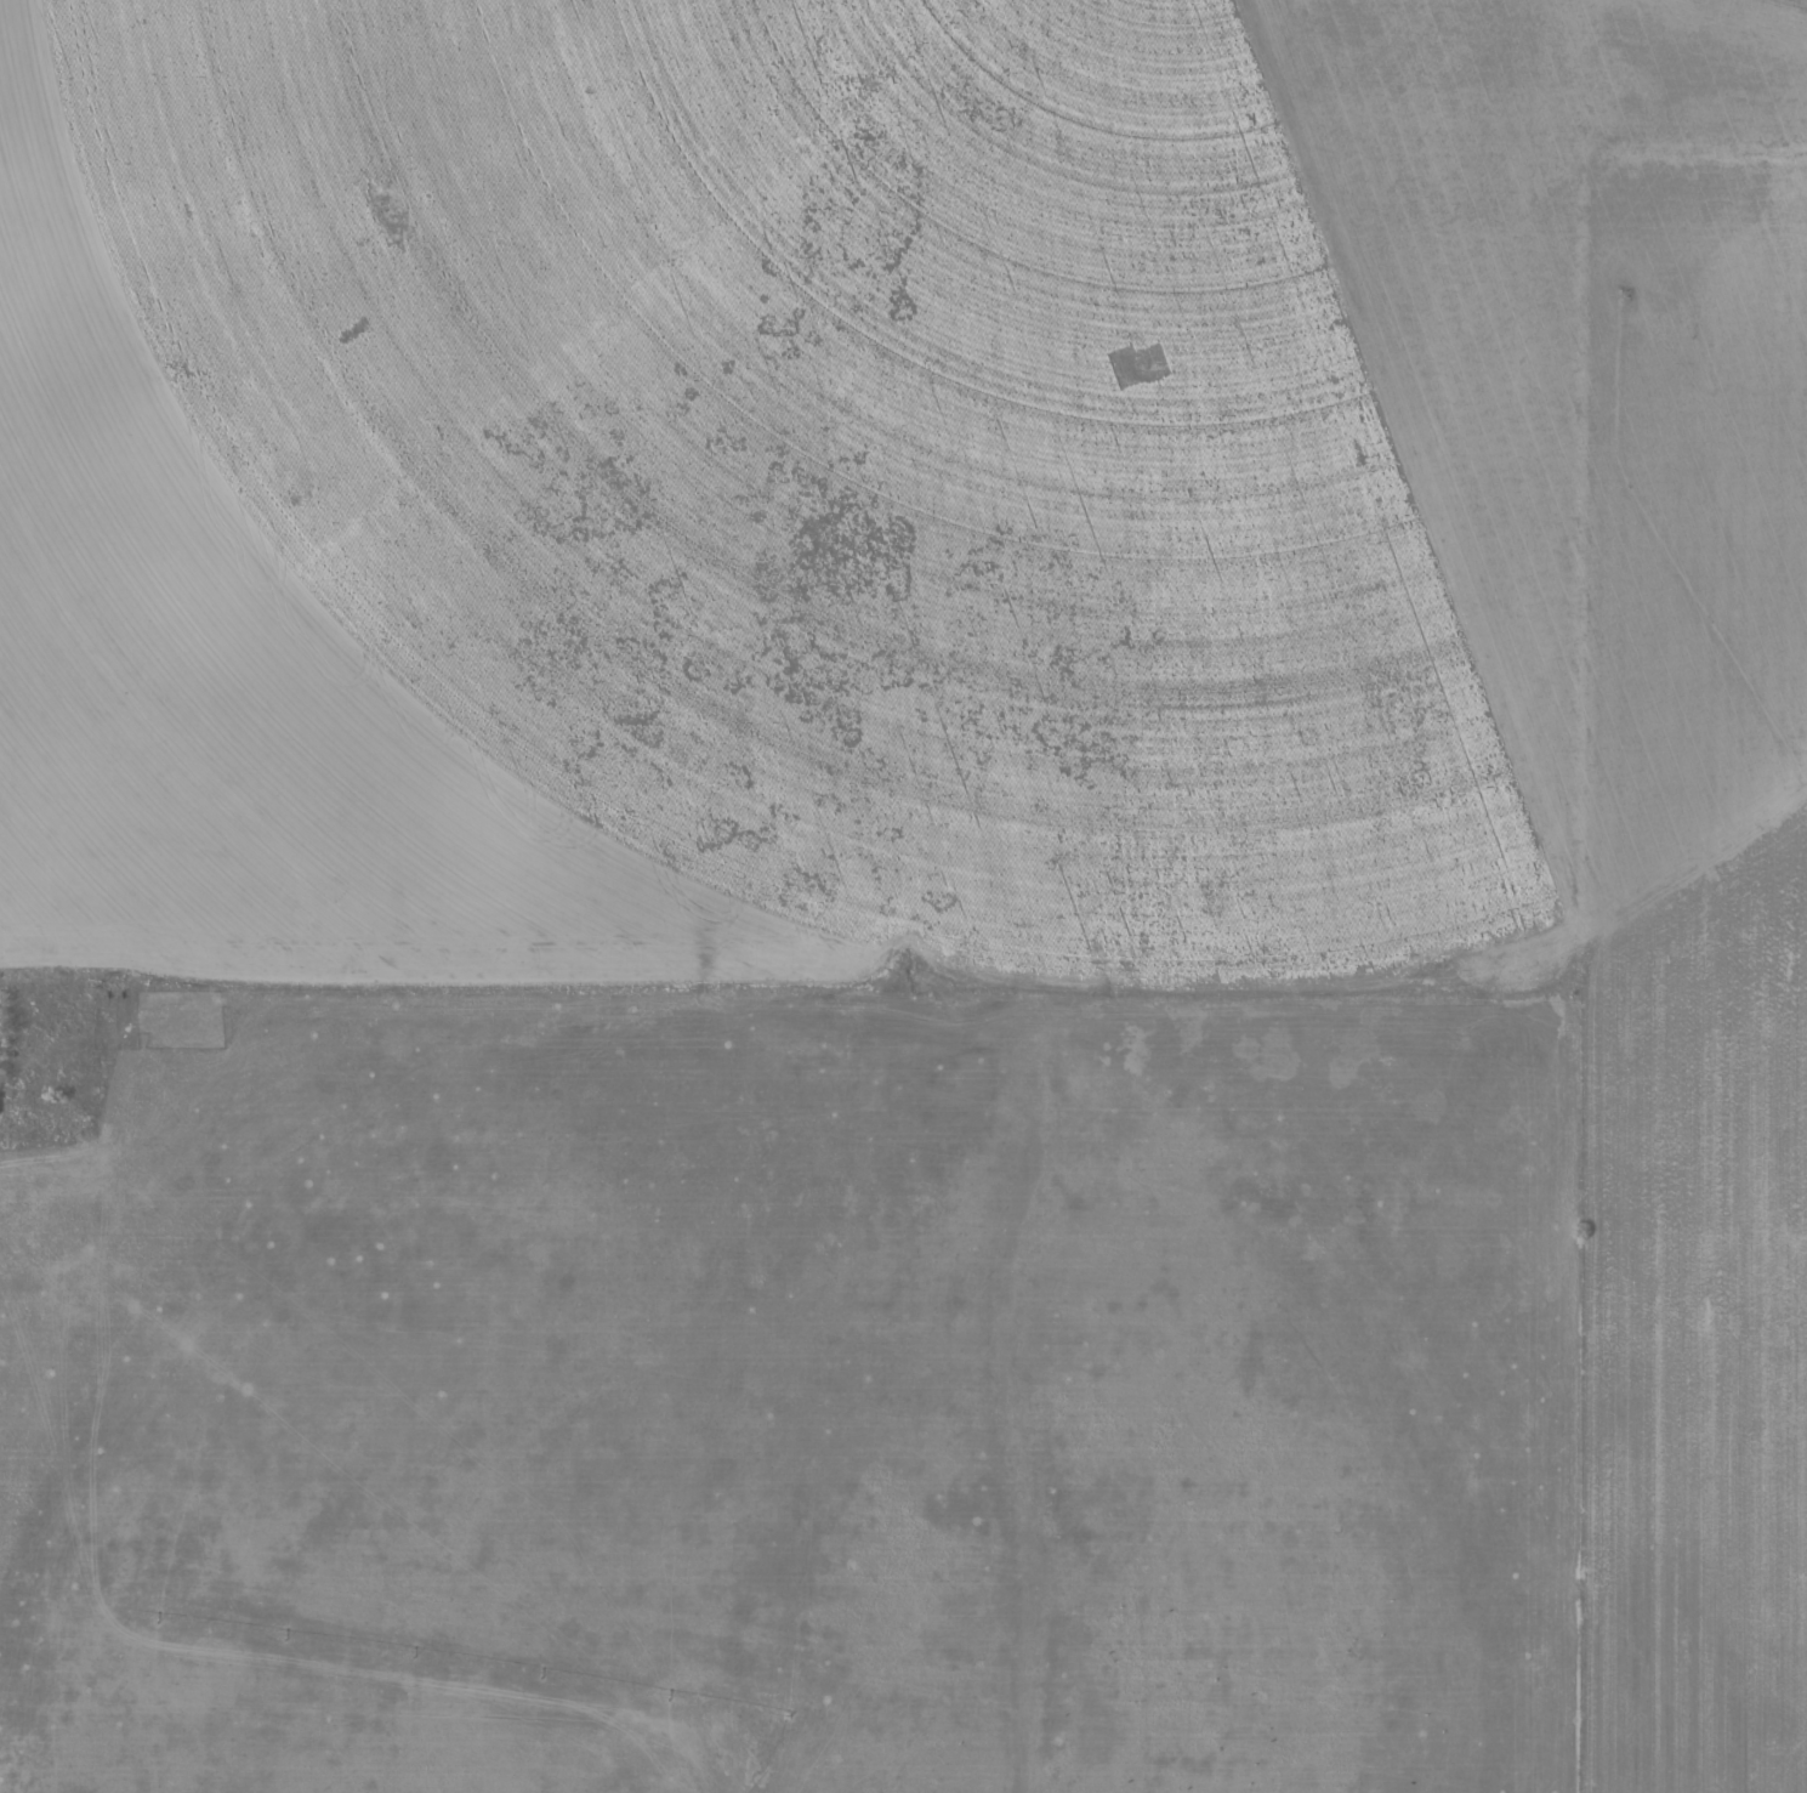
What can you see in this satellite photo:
road: (1171, 1017)

